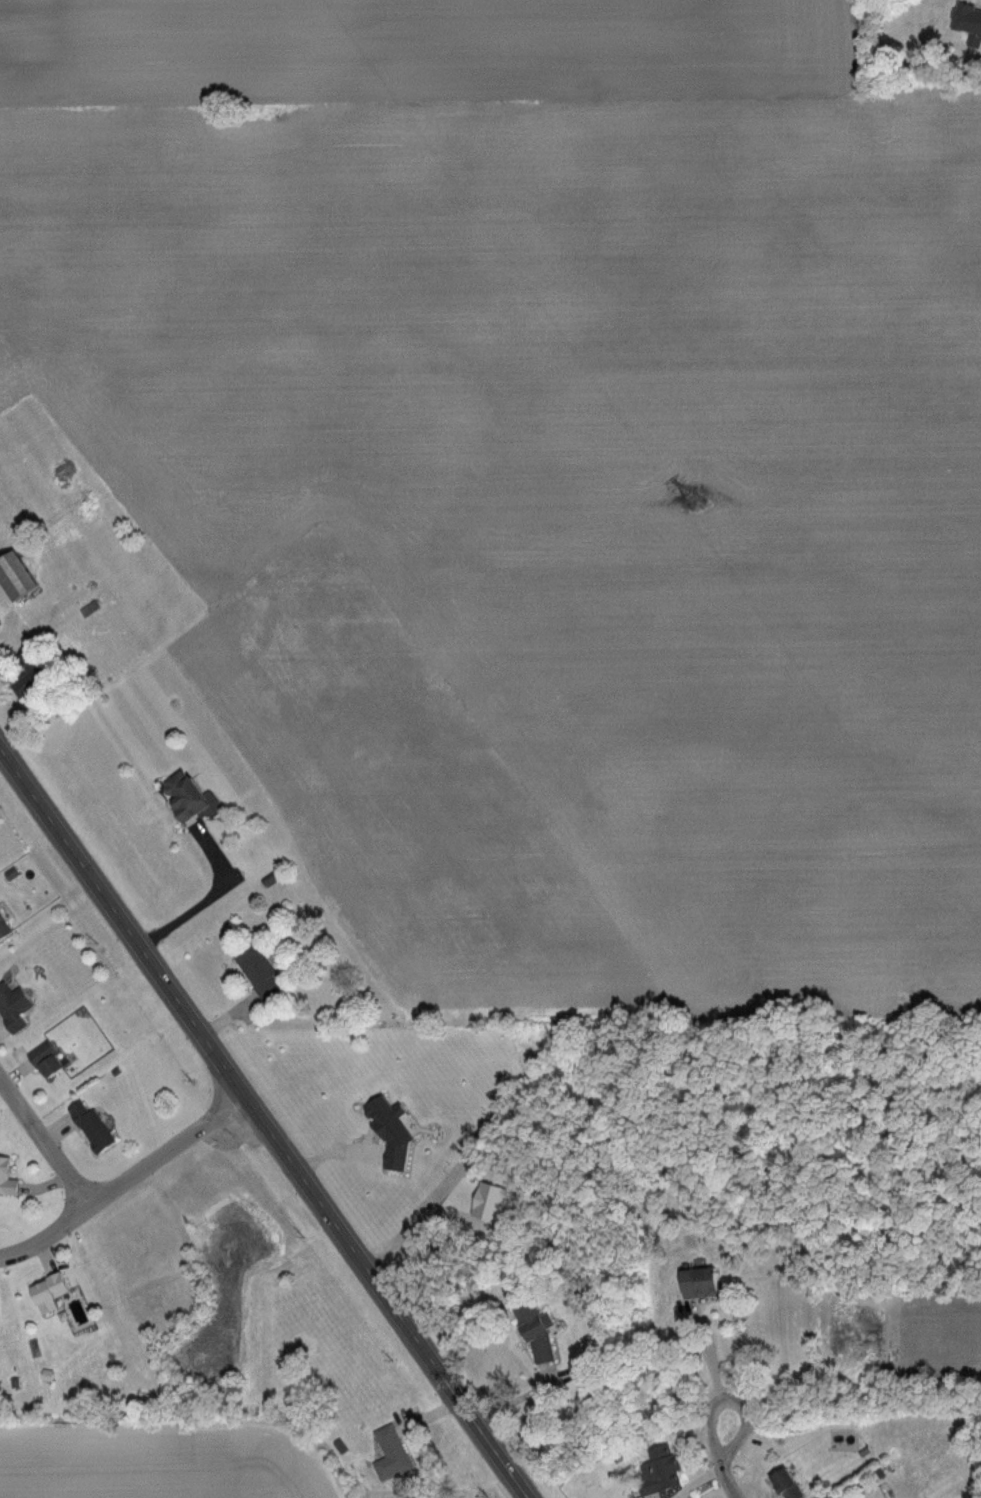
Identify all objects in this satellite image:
crop: (564, 415)
building: (25, 588)
building: (191, 797)
building: (4, 928)
building: (263, 975)
building: (16, 1007)
building: (51, 1061)
road: (263, 1124)
building: (94, 1127)
road: (42, 1139)
road: (121, 1172)
building: (10, 1177)
building: (706, 1283)
building: (53, 1293)
building: (543, 1338)
road: (707, 1367)
building: (393, 1455)
crop: (166, 1458)
road: (721, 1460)
building: (663, 1470)
building: (790, 1484)

